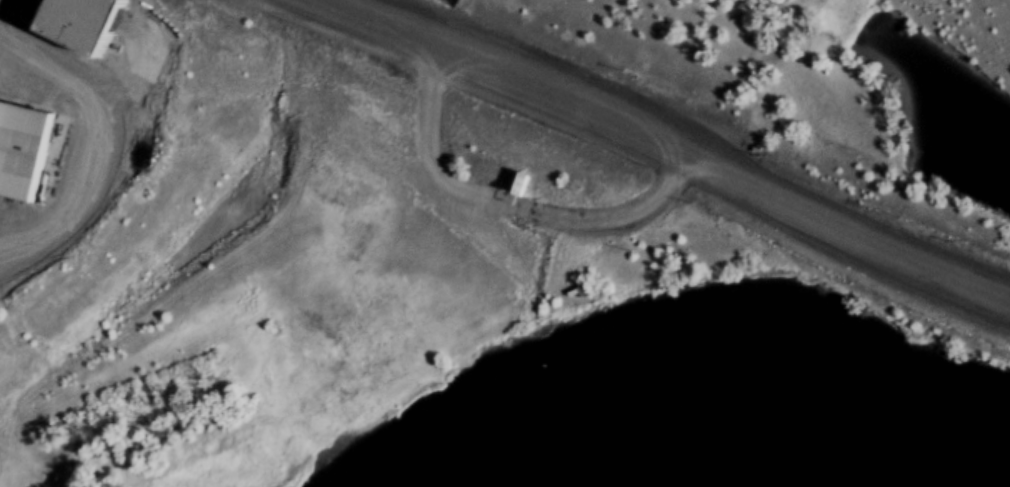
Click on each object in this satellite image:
building: (33, 141)
road: (656, 148)
road: (99, 154)
road: (466, 194)
road: (603, 226)

